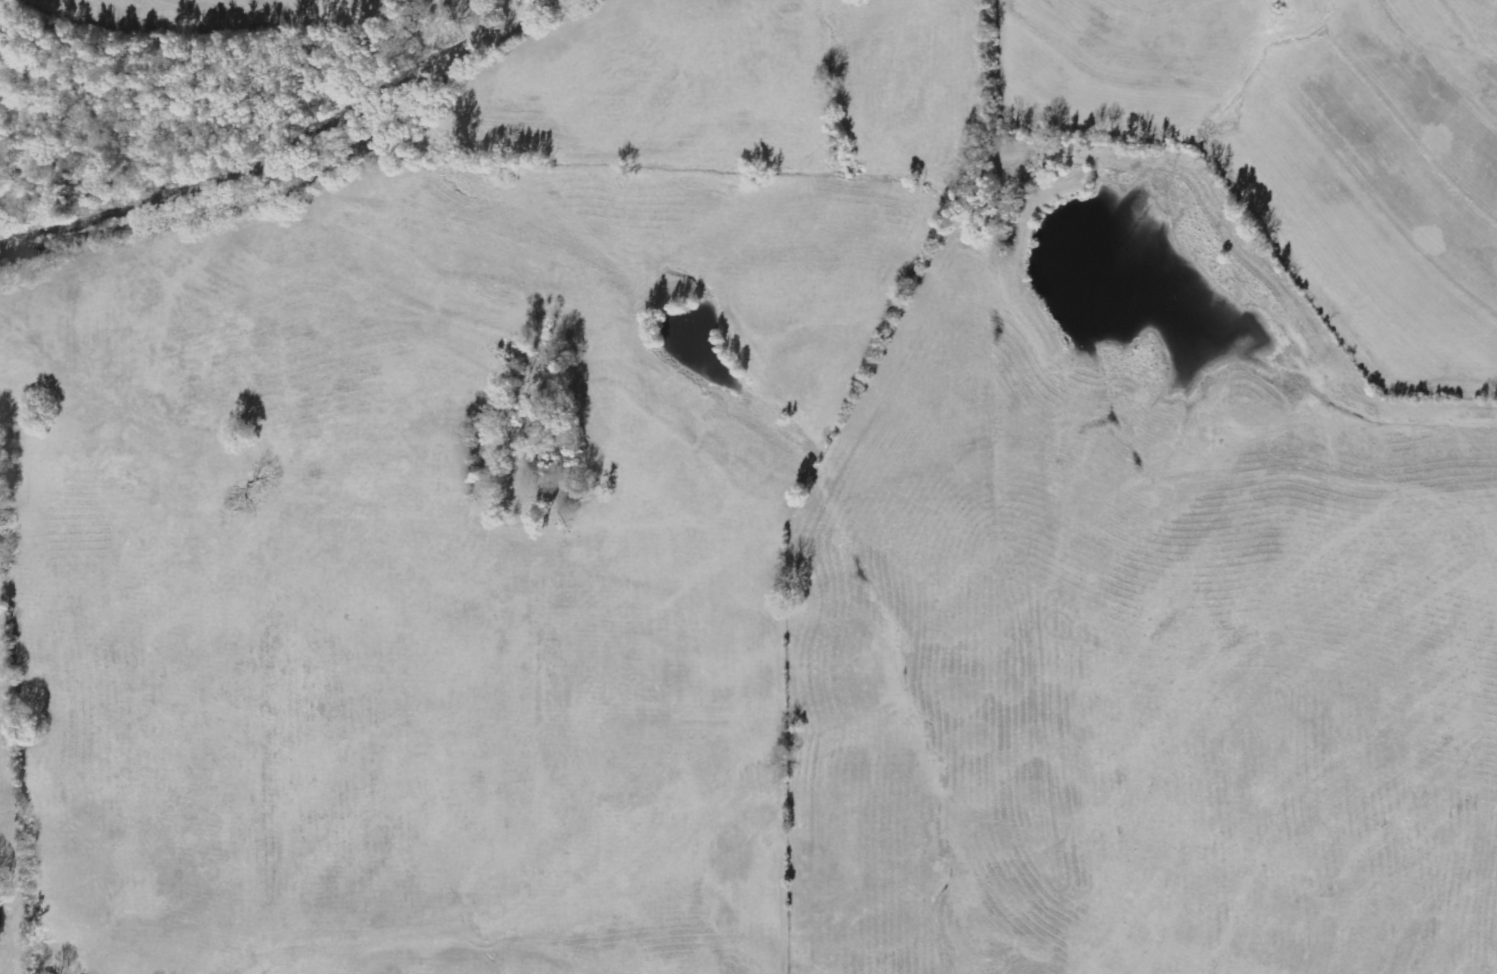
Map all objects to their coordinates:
road: (308, 185)

